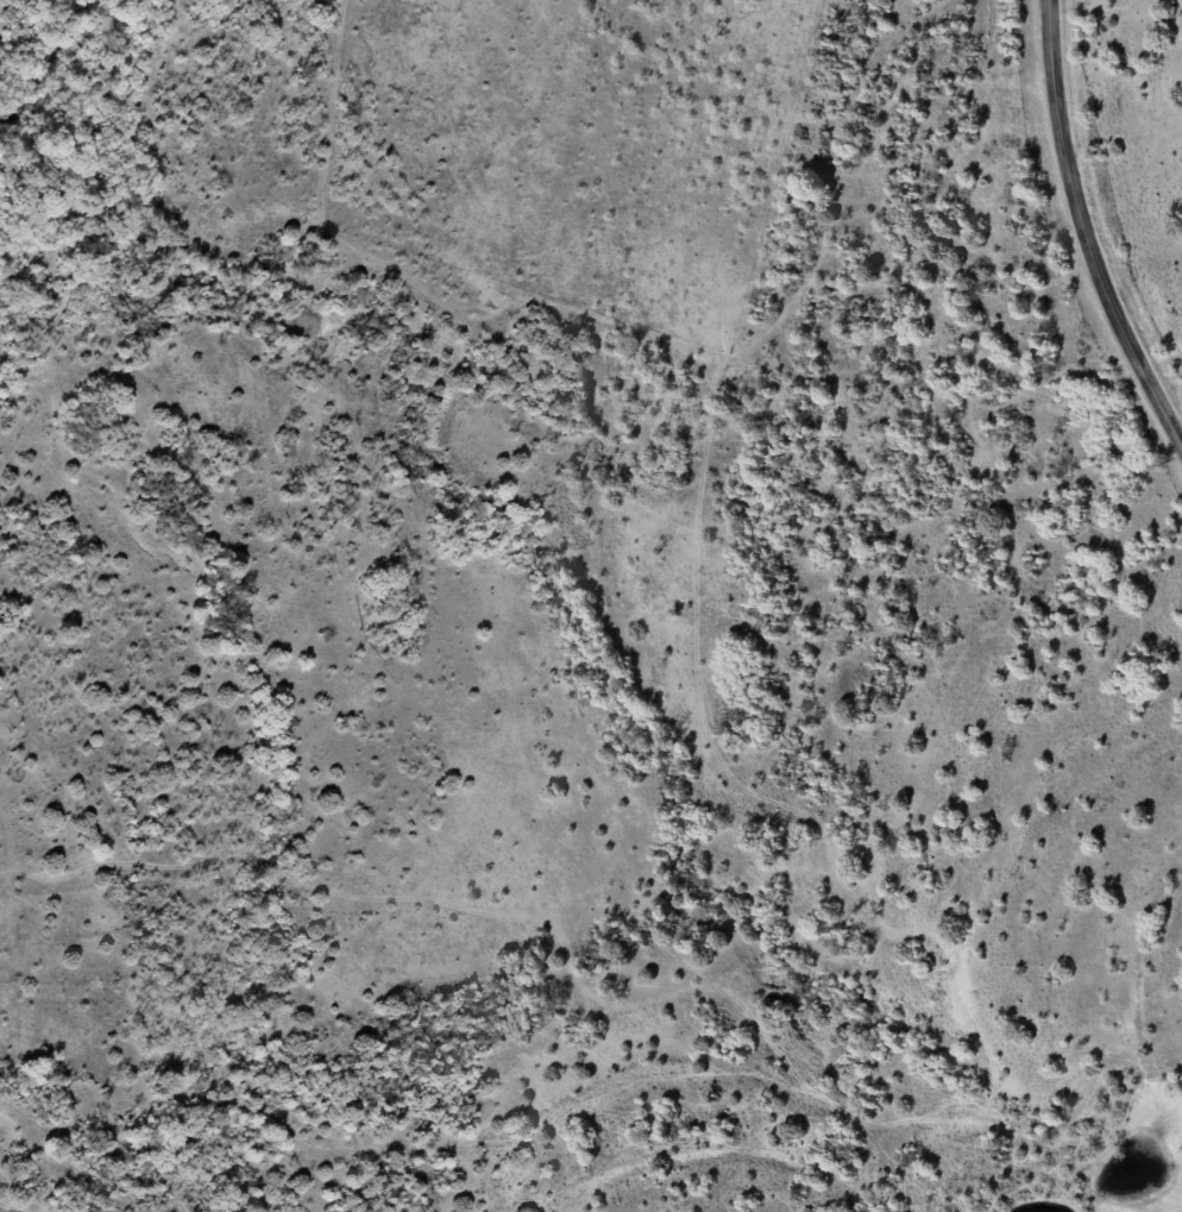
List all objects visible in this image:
road: (1086, 231)

